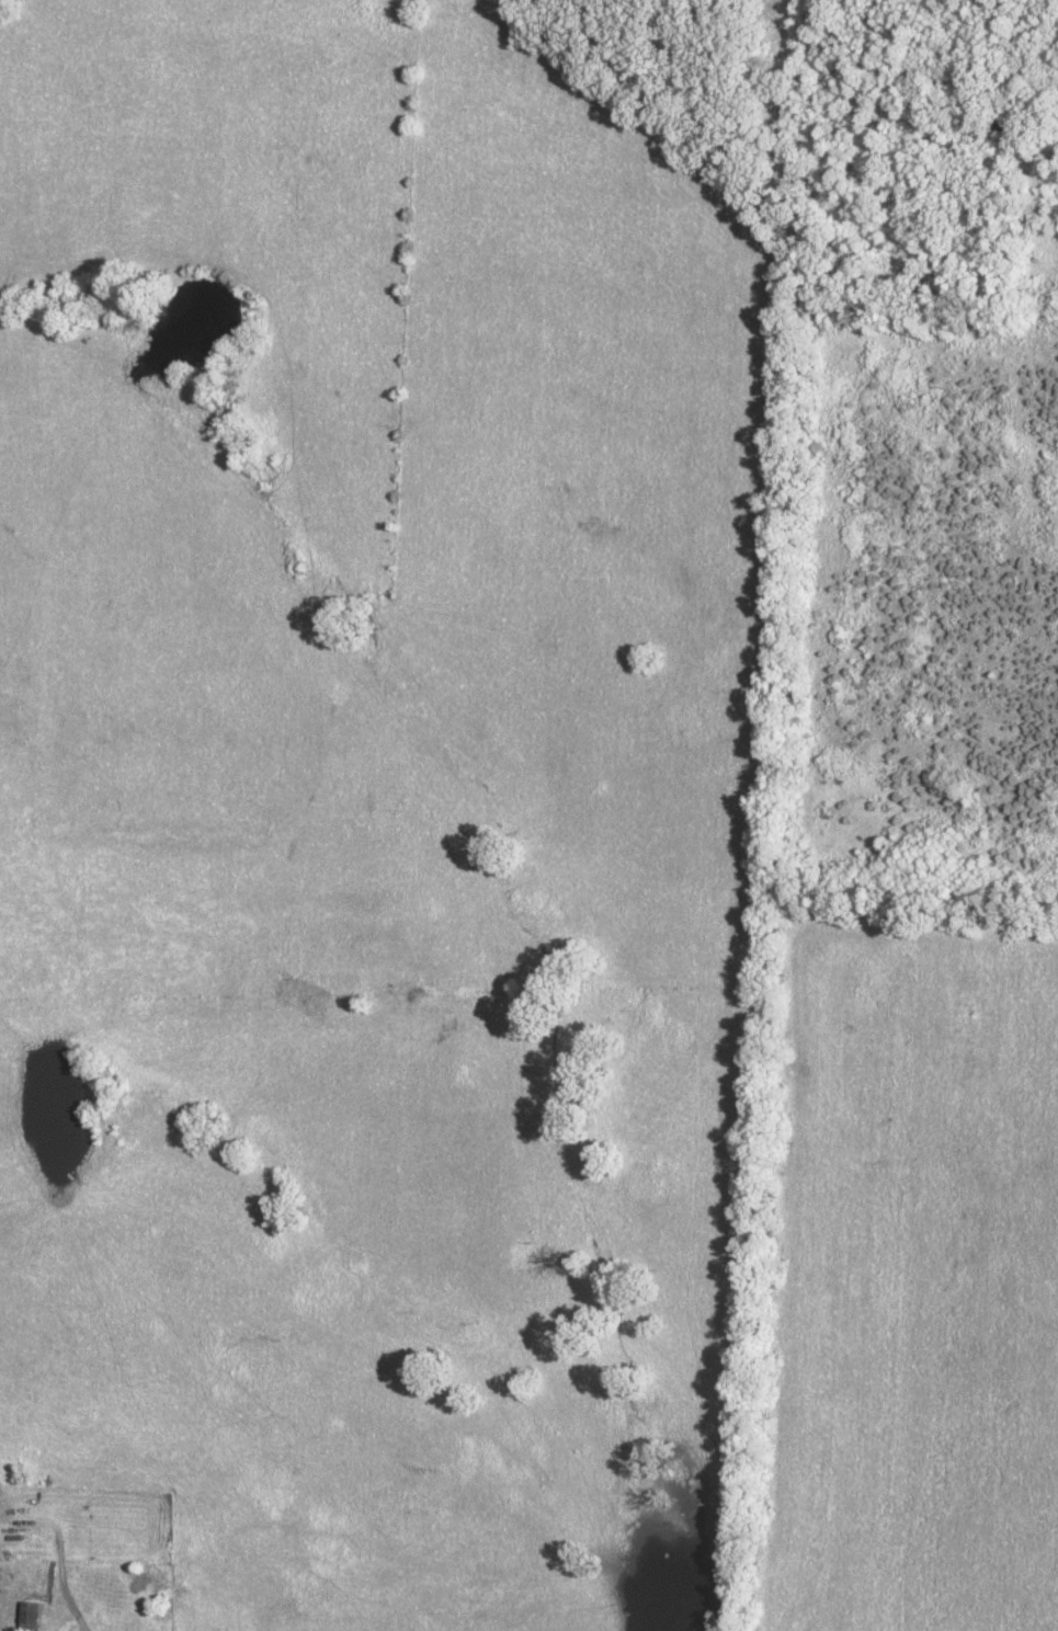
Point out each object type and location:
building: (31, 1616)

